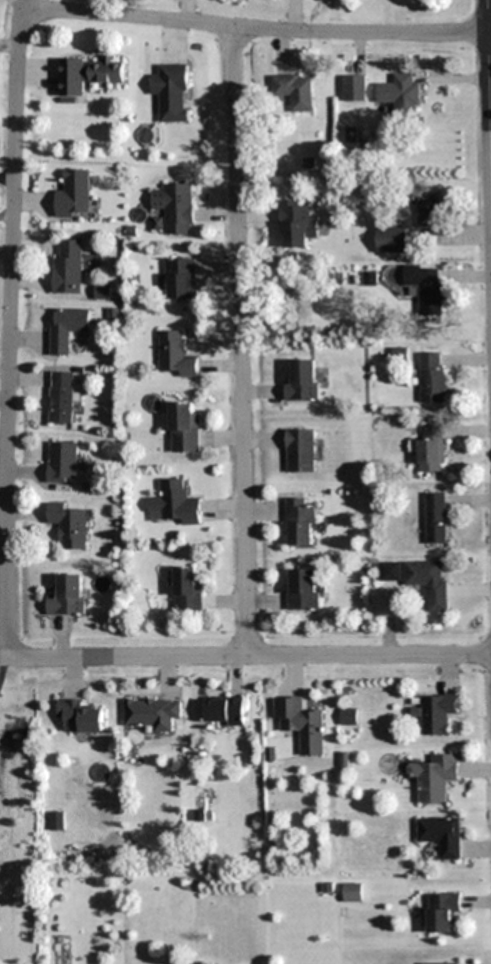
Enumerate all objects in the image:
road: (202, 23)
building: (88, 74)
building: (355, 88)
building: (295, 90)
building: (173, 92)
building: (401, 94)
road: (489, 103)
building: (75, 195)
building: (174, 208)
building: (429, 209)
building: (296, 224)
building: (391, 239)
building: (69, 266)
building: (178, 279)
building: (426, 287)
building: (102, 291)
building: (66, 328)
road: (241, 341)
building: (175, 355)
building: (432, 377)
building: (301, 380)
road: (8, 392)
building: (62, 397)
building: (183, 427)
building: (431, 448)
building: (300, 450)
building: (62, 462)
building: (174, 503)
building: (436, 518)
building: (300, 523)
building: (69, 525)
building: (390, 572)
building: (429, 582)
building: (302, 589)
building: (187, 590)
building: (68, 596)
road: (247, 655)
road: (2, 665)
building: (224, 711)
building: (152, 713)
building: (435, 714)
building: (80, 716)
building: (348, 716)
building: (301, 723)
building: (434, 777)
park: (19, 817)
building: (57, 820)
building: (441, 836)
building: (353, 892)
building: (441, 911)
building: (442, 963)

